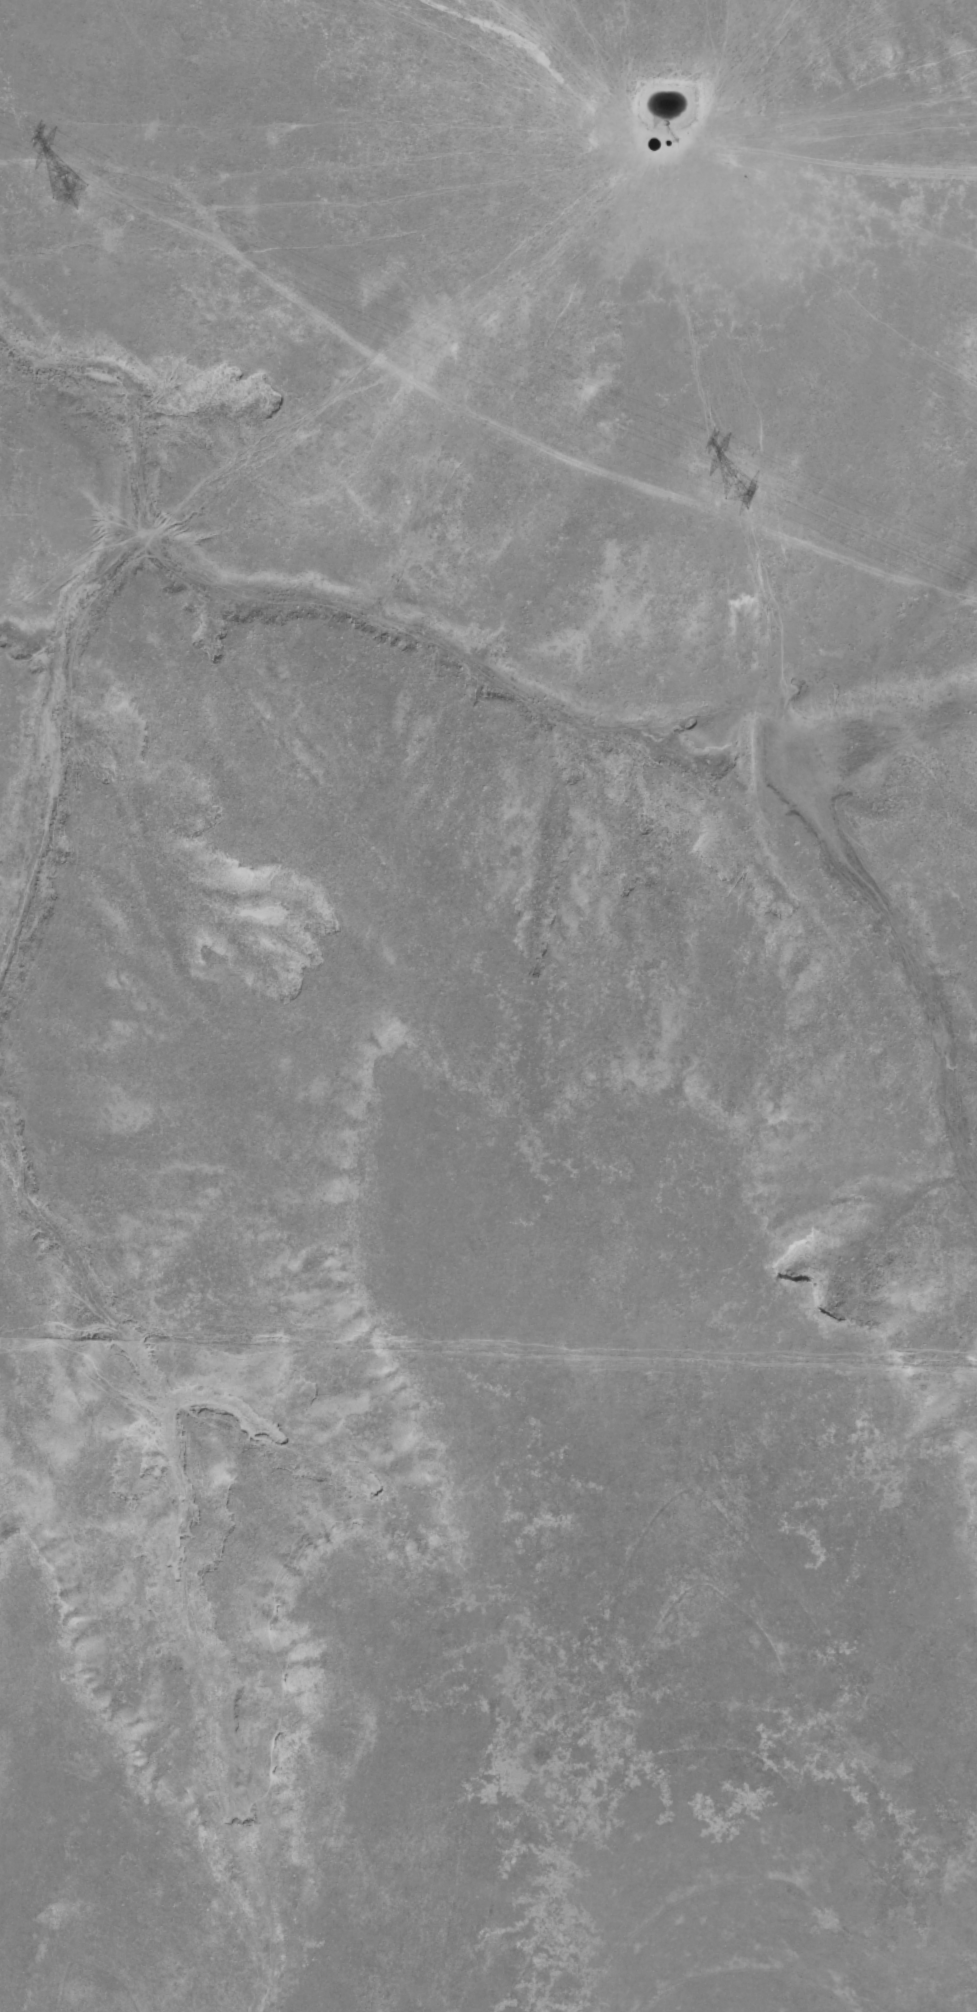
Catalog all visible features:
road: (614, 167)
power tower: (72, 195)
power tower: (743, 499)

